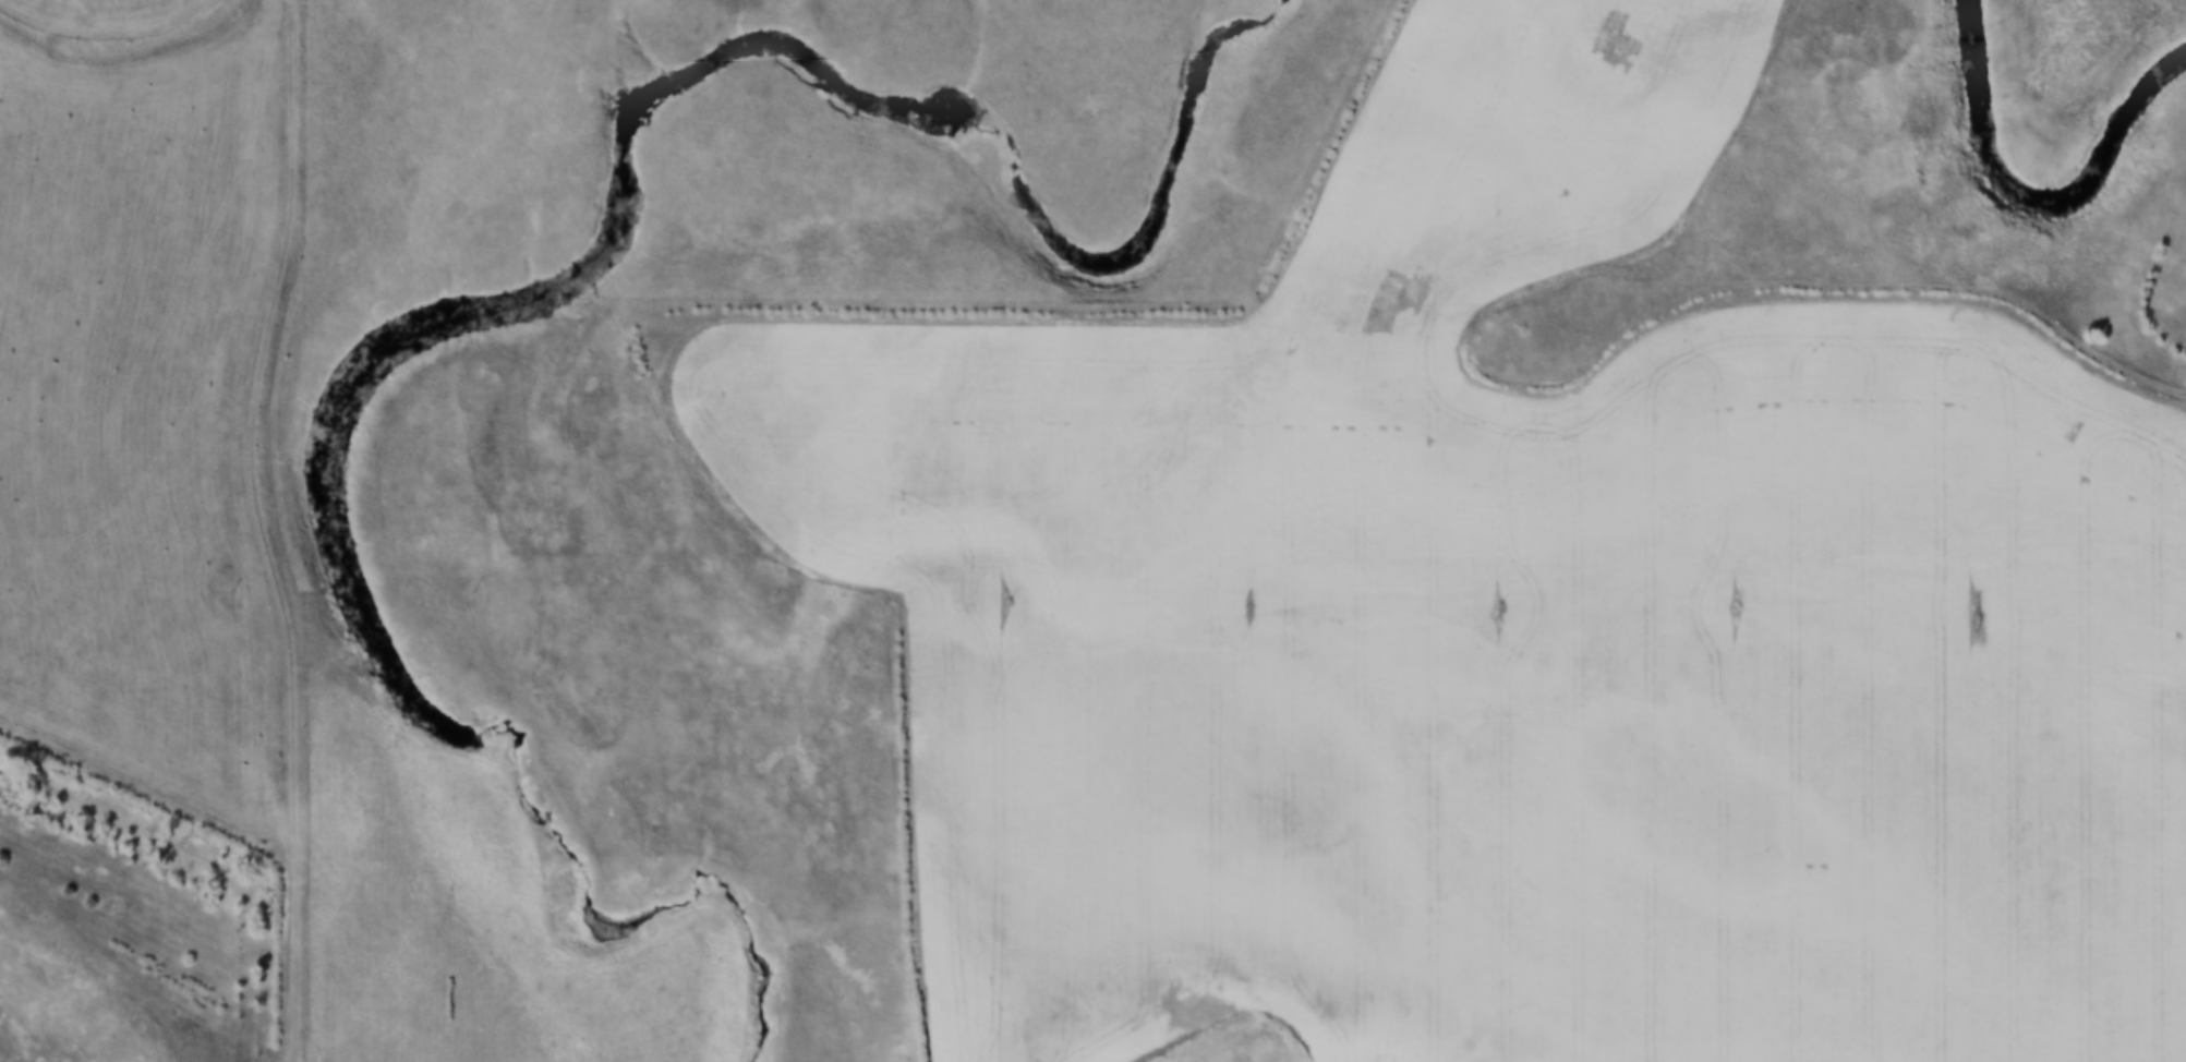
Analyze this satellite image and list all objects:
road: (294, 965)

